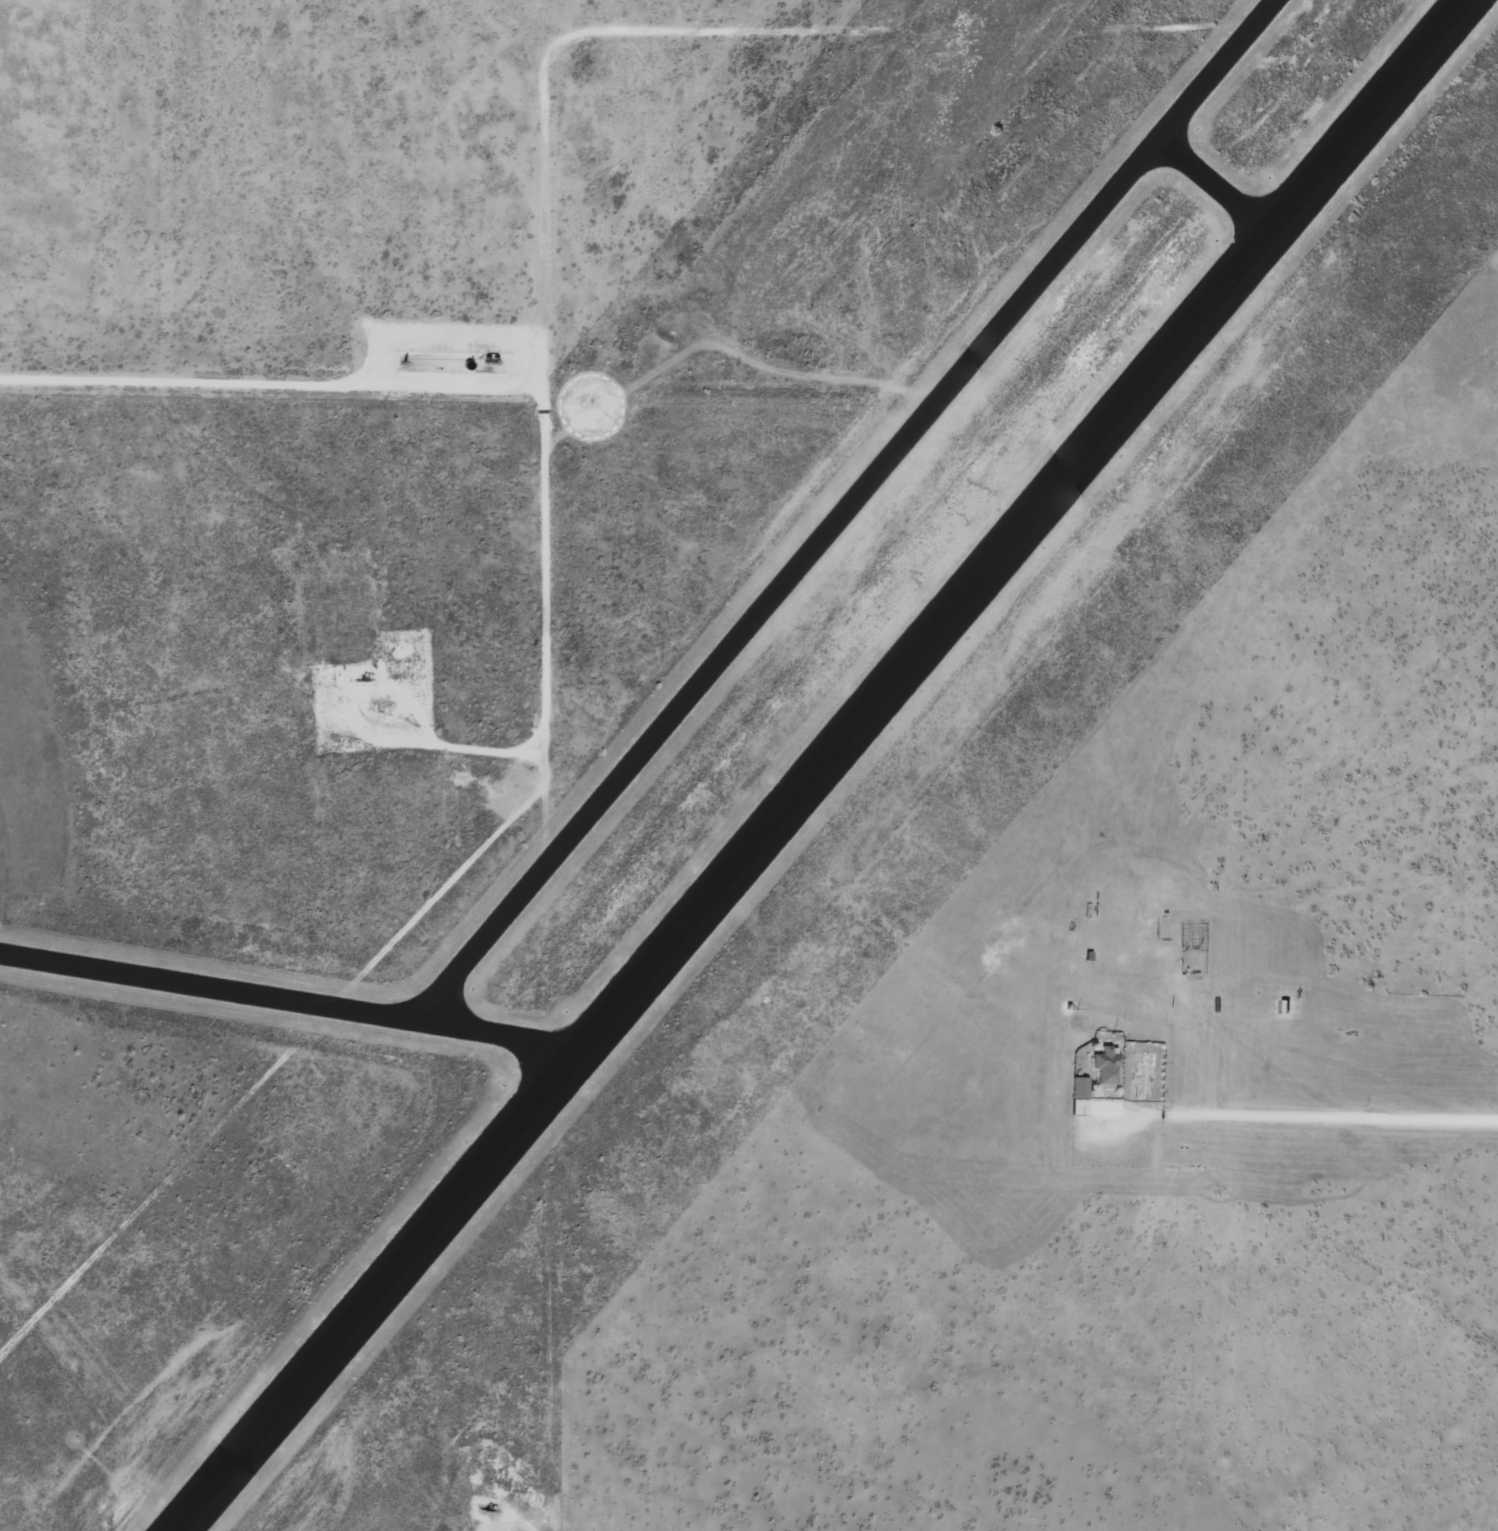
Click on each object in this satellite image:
airport taxiway: (1218, 185)
road: (539, 436)
airport taxiway: (848, 512)
airport: (624, 717)
airport runway: (824, 765)
airport taxiway: (291, 1003)
road: (1342, 1091)

